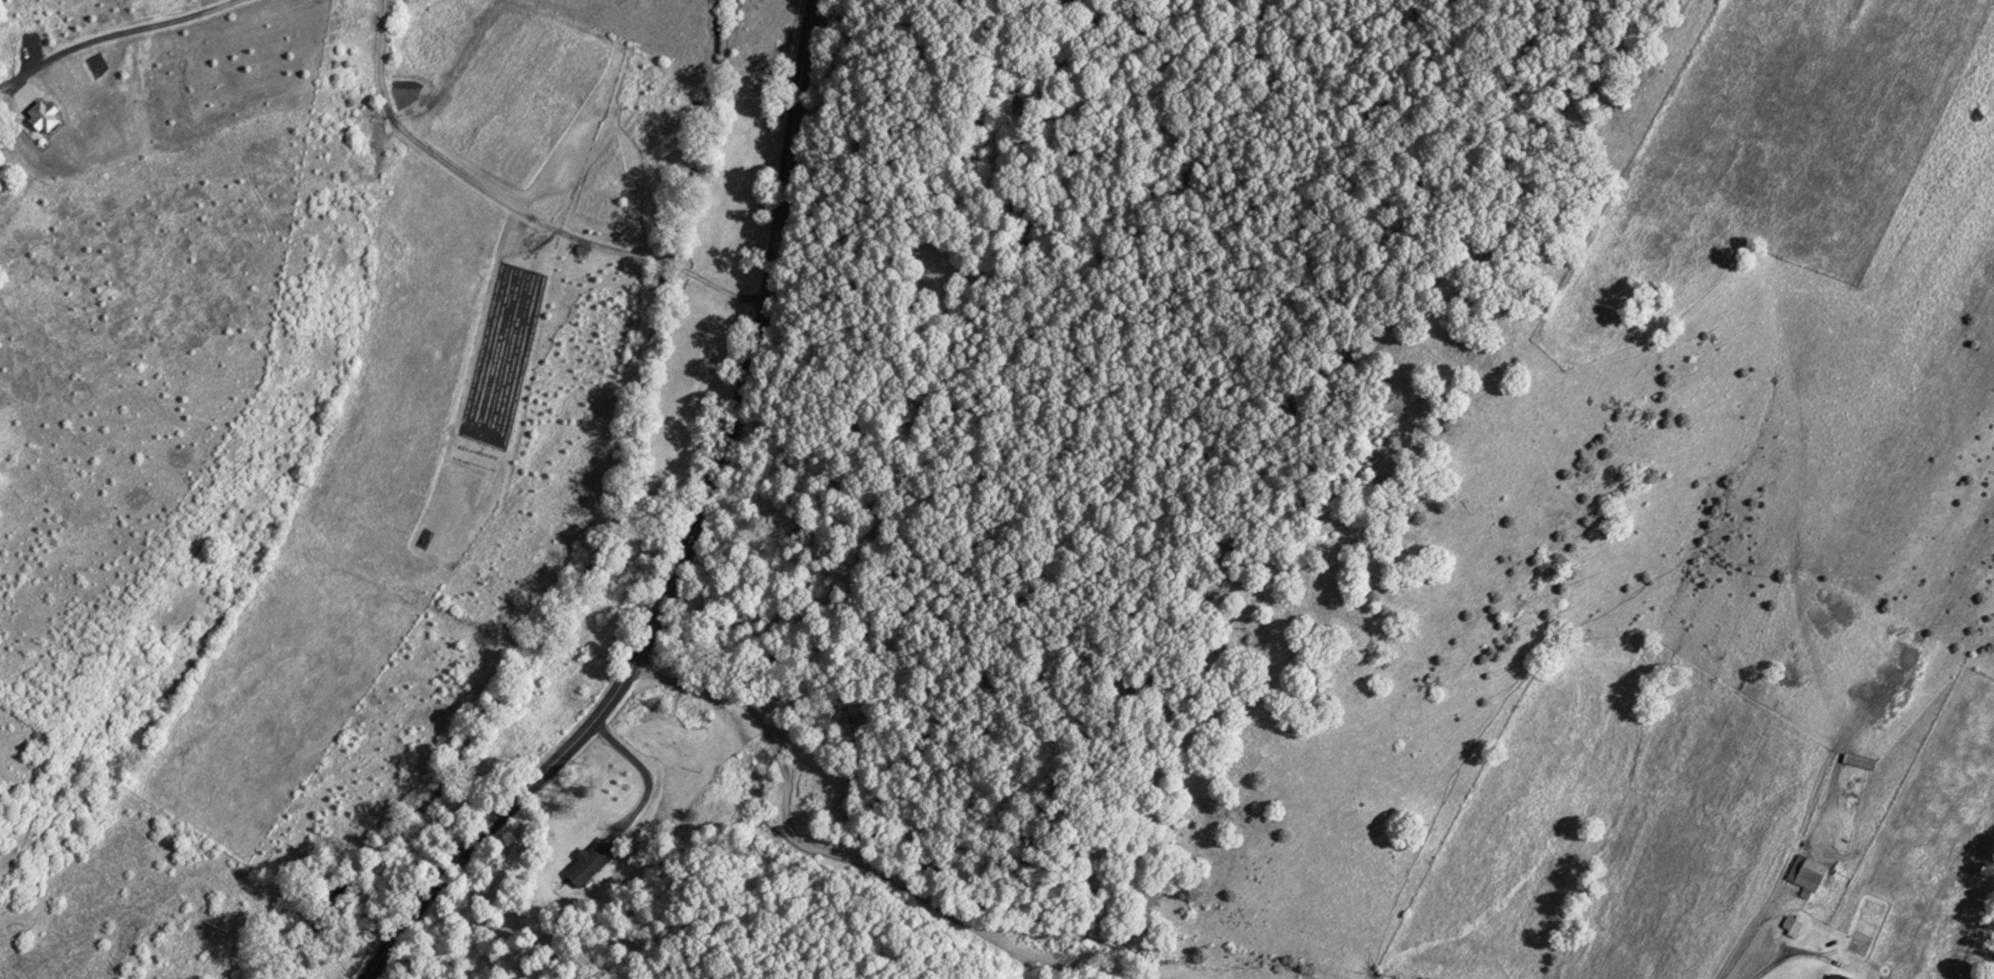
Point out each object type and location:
road: (113, 35)
road: (509, 209)
road: (692, 535)
building: (1858, 761)
road: (774, 811)
building: (587, 865)
building: (1806, 874)
road: (1756, 940)
building: (1837, 976)

